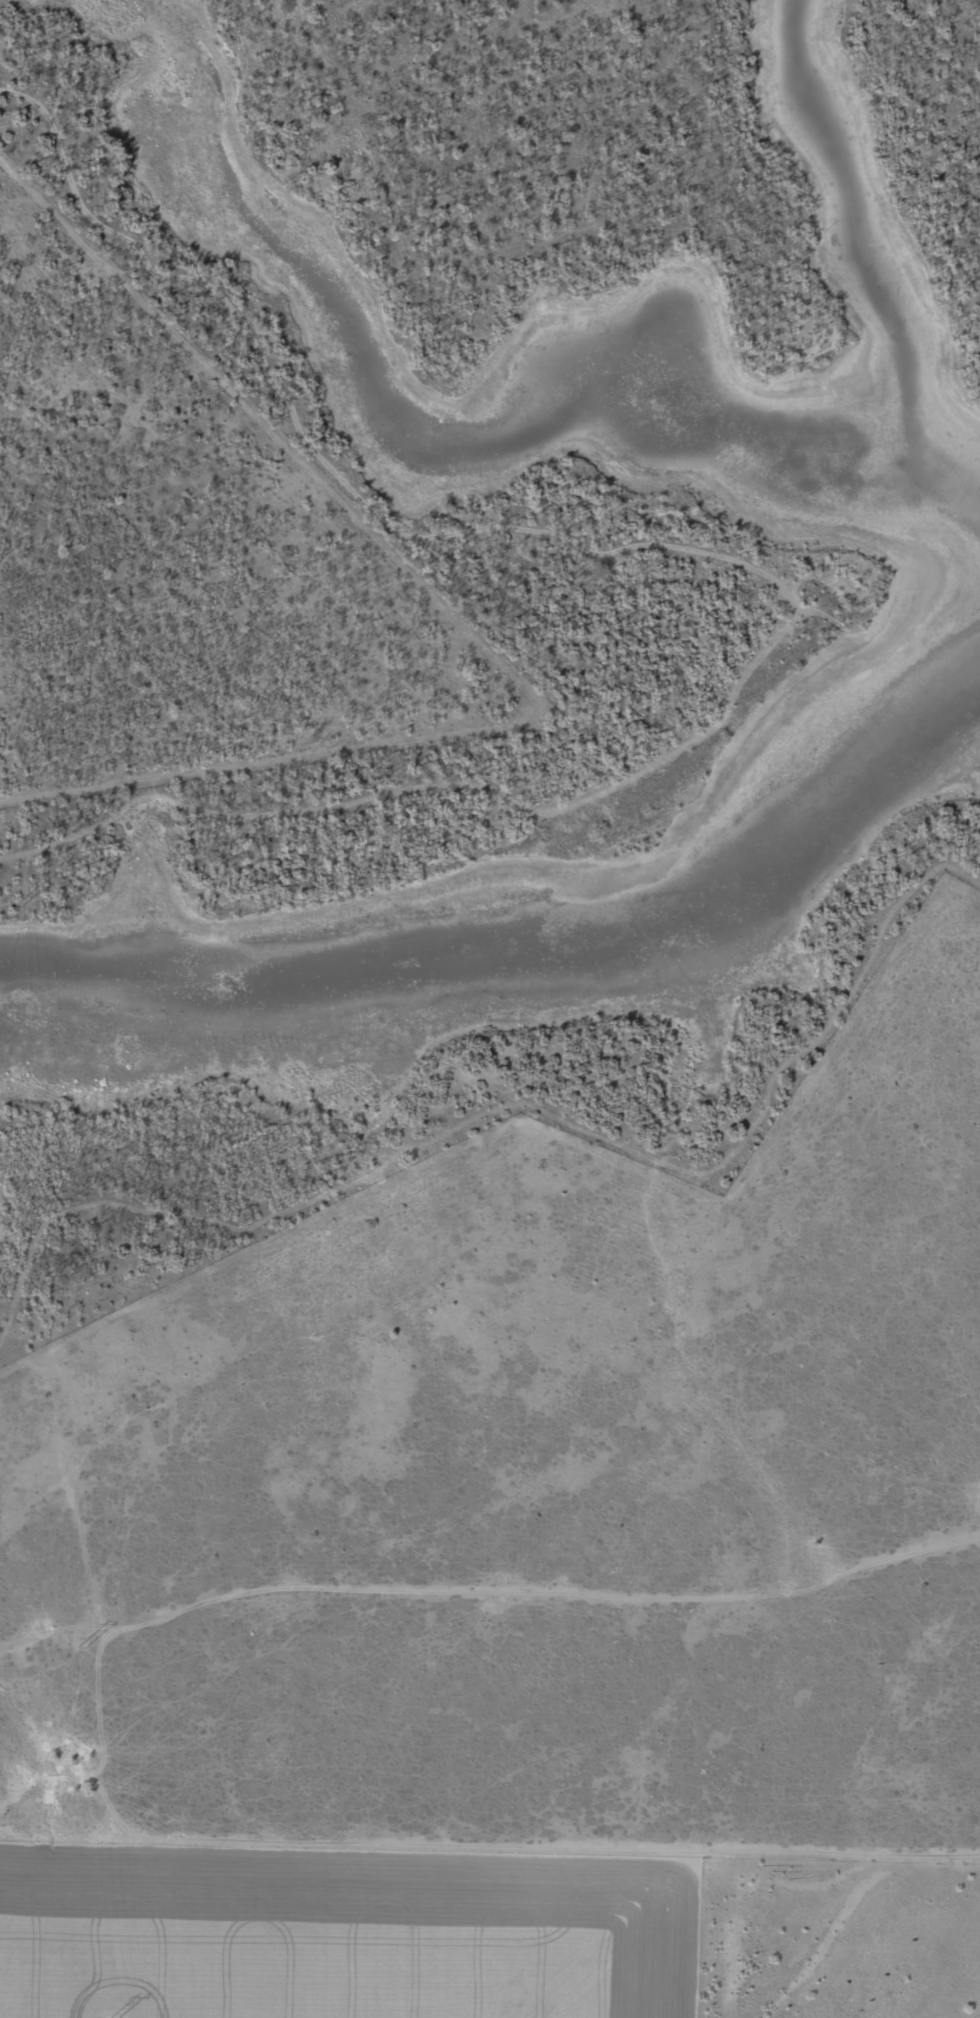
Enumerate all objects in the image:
power tower: (18, 909)
power tower: (51, 1278)
road: (483, 1589)
power tower: (84, 1649)

